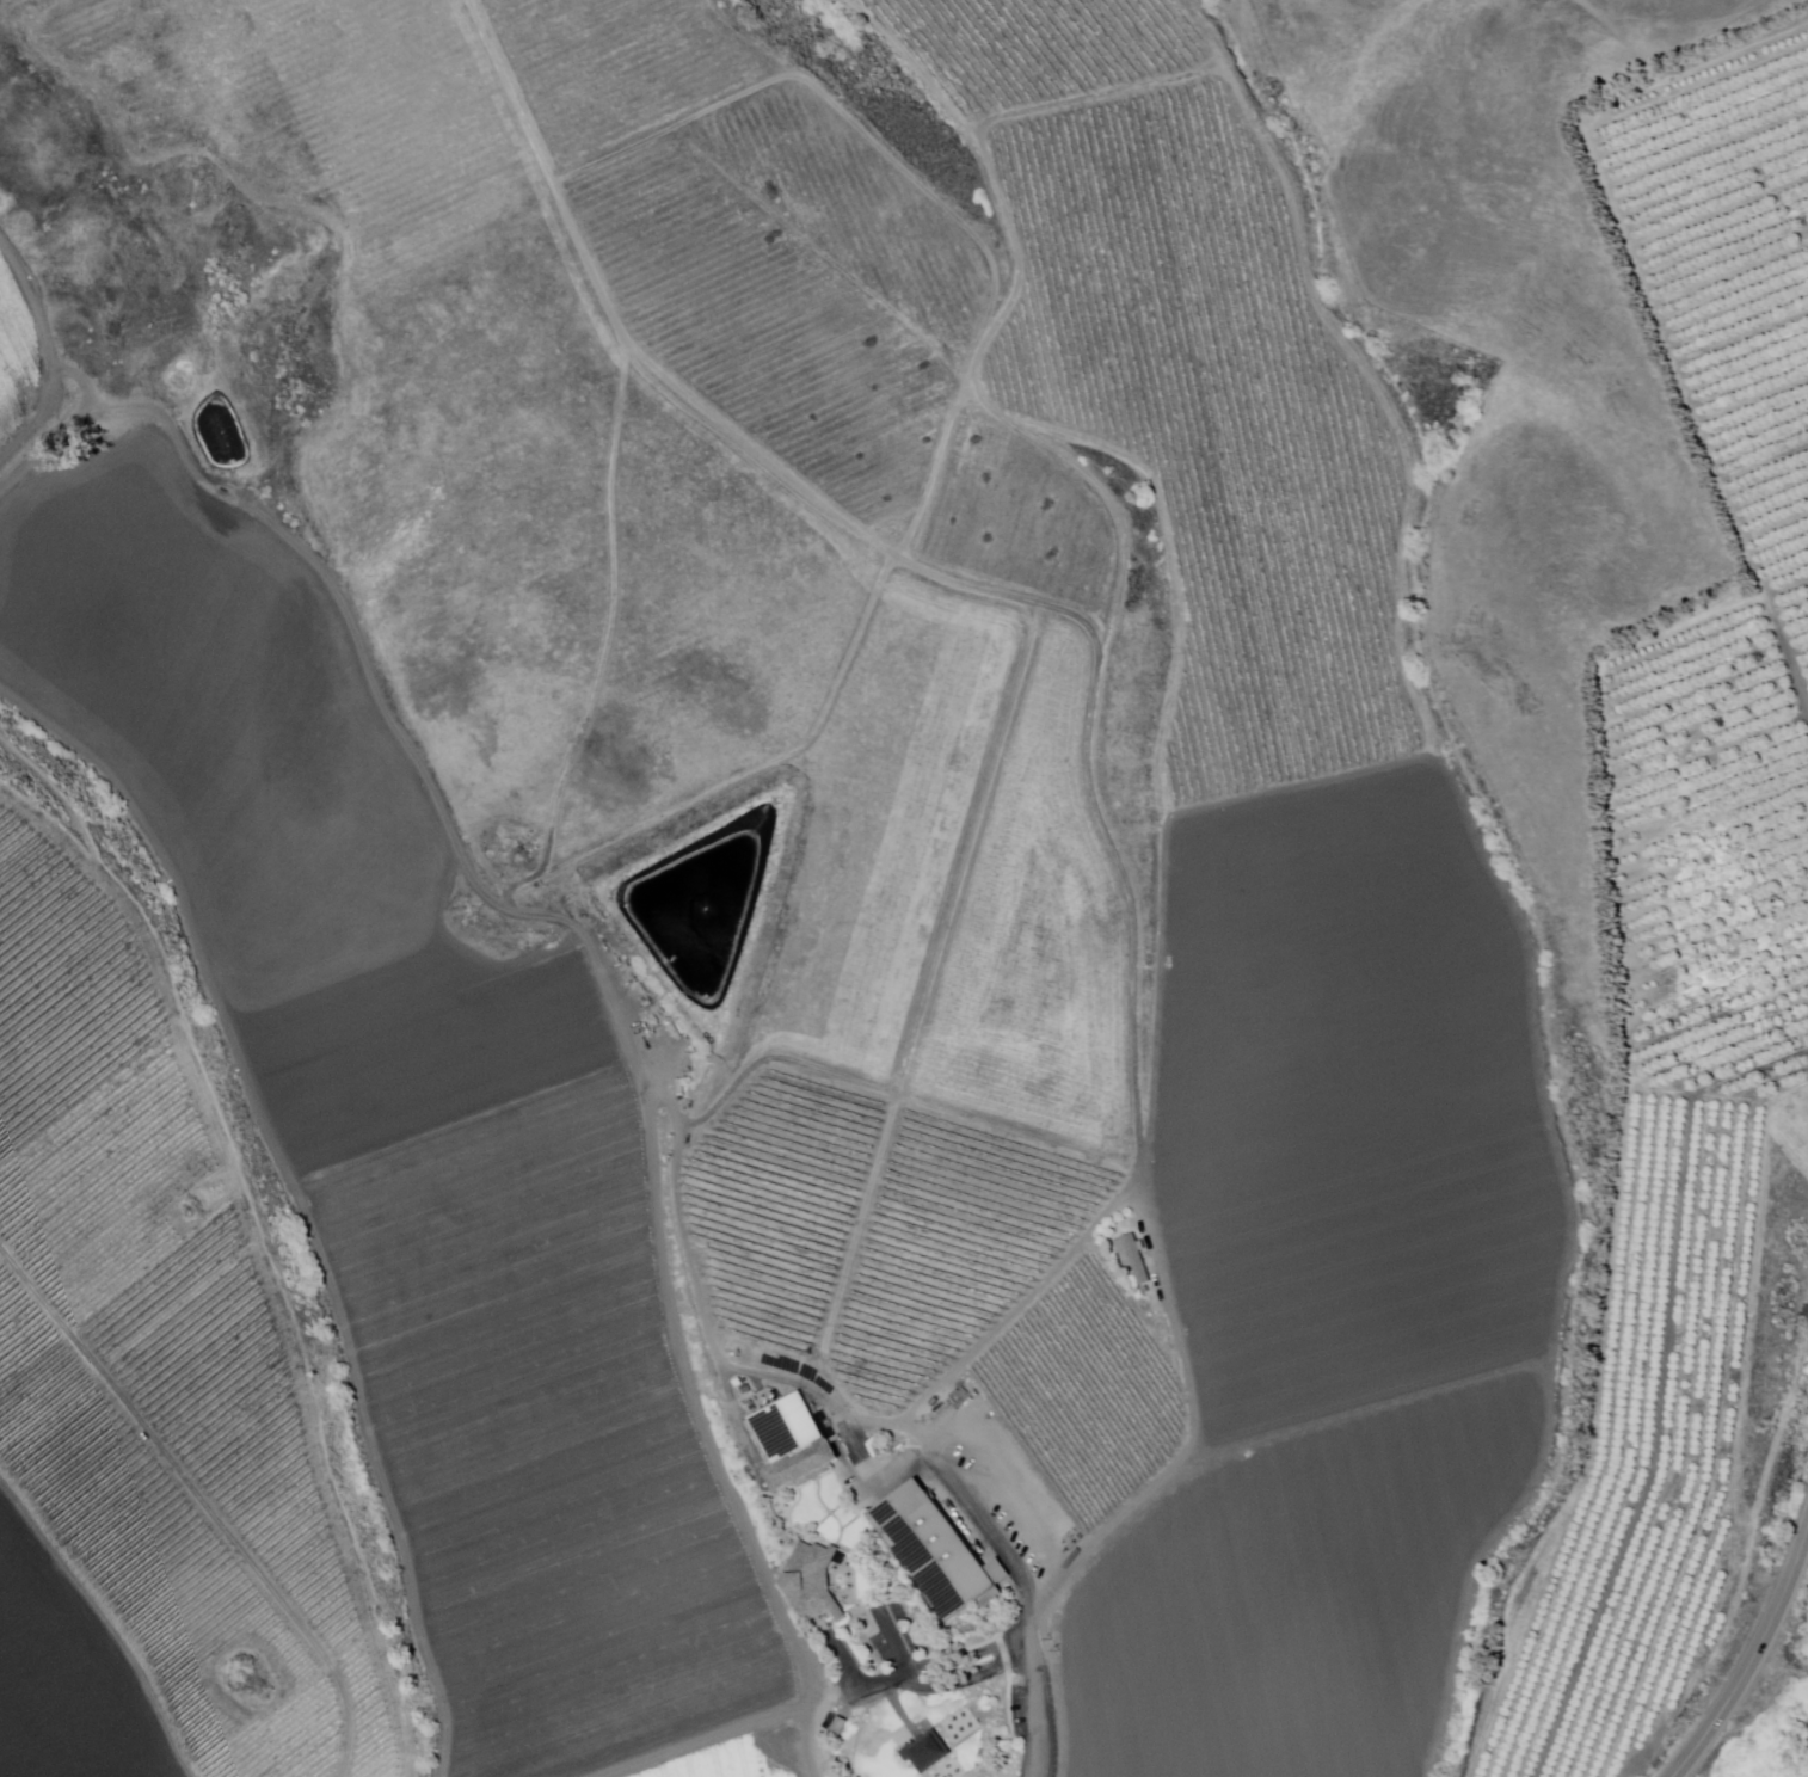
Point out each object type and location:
crop: (17, 358)
crop: (894, 886)
crop: (61, 984)
crop: (1353, 1107)
crop: (416, 1132)
building: (1137, 1259)
building: (793, 1443)
road: (849, 1550)
building: (936, 1552)
building: (812, 1582)
crop: (1296, 1599)
road: (1032, 1606)
parking lot: (905, 1628)
road: (894, 1641)
parking lot: (884, 1652)
road: (968, 1656)
road: (1752, 1656)
crop: (64, 1677)
road: (967, 1680)
road: (861, 1690)
parking lot: (1020, 1713)
crop: (203, 1721)
building: (838, 1726)
parking lot: (1050, 1726)
road: (996, 1739)
building: (927, 1752)
crop: (740, 1759)

